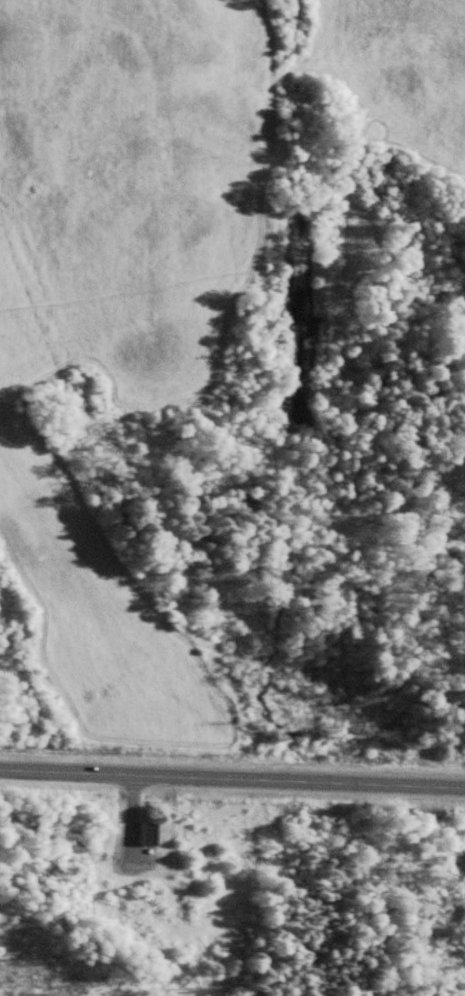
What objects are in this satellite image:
road: (232, 777)
building: (151, 834)

